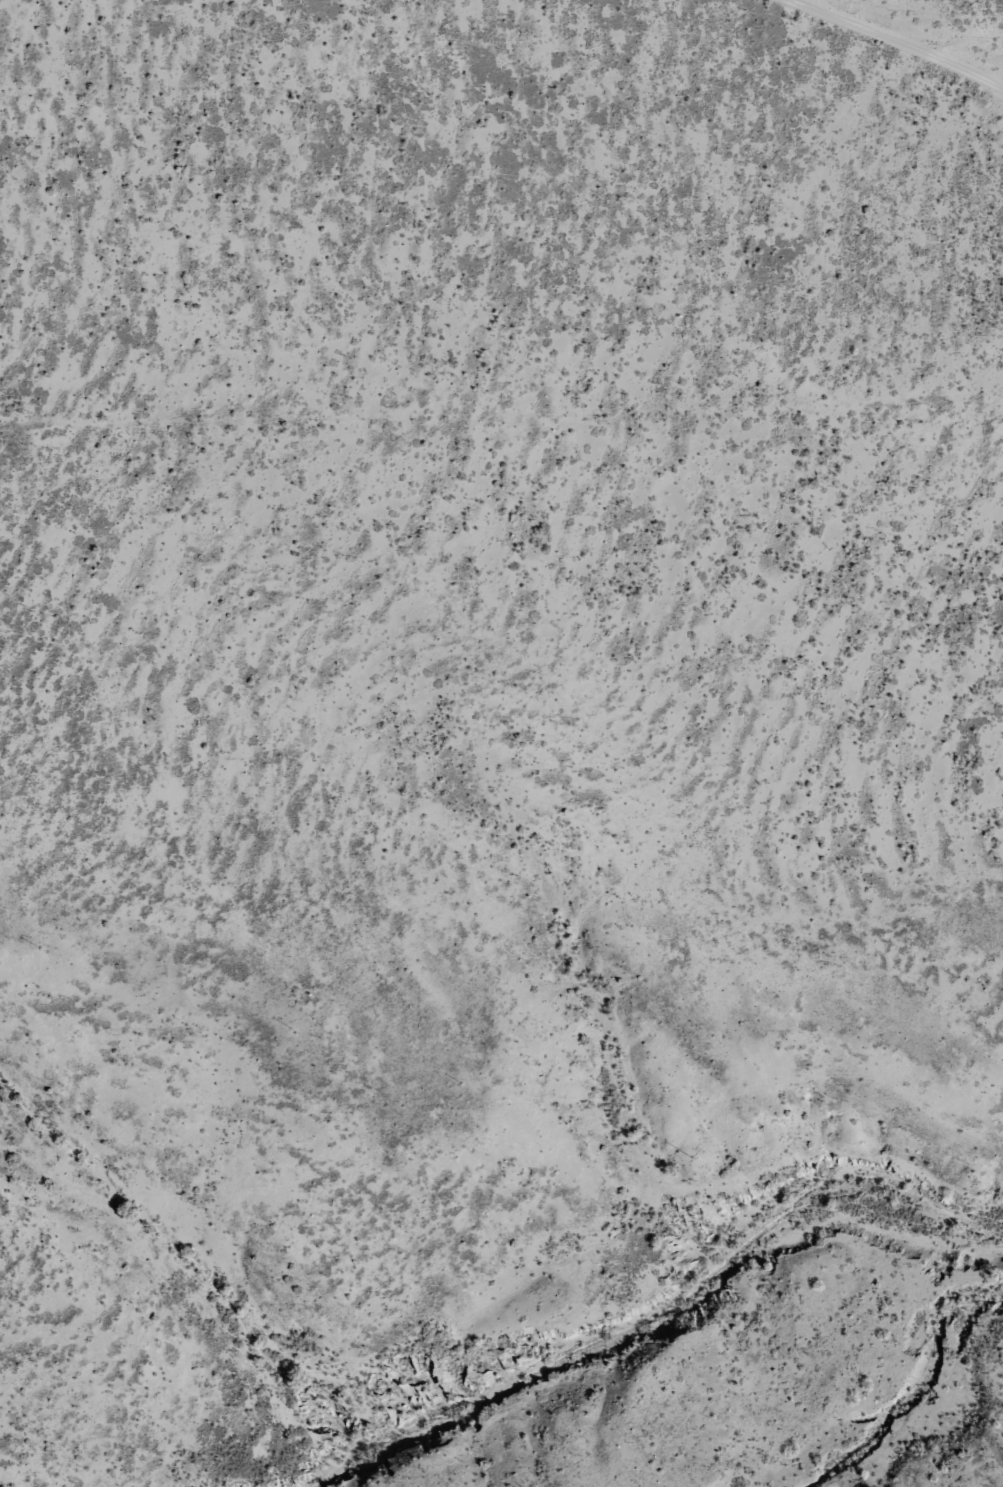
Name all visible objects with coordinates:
road: (894, 48)

